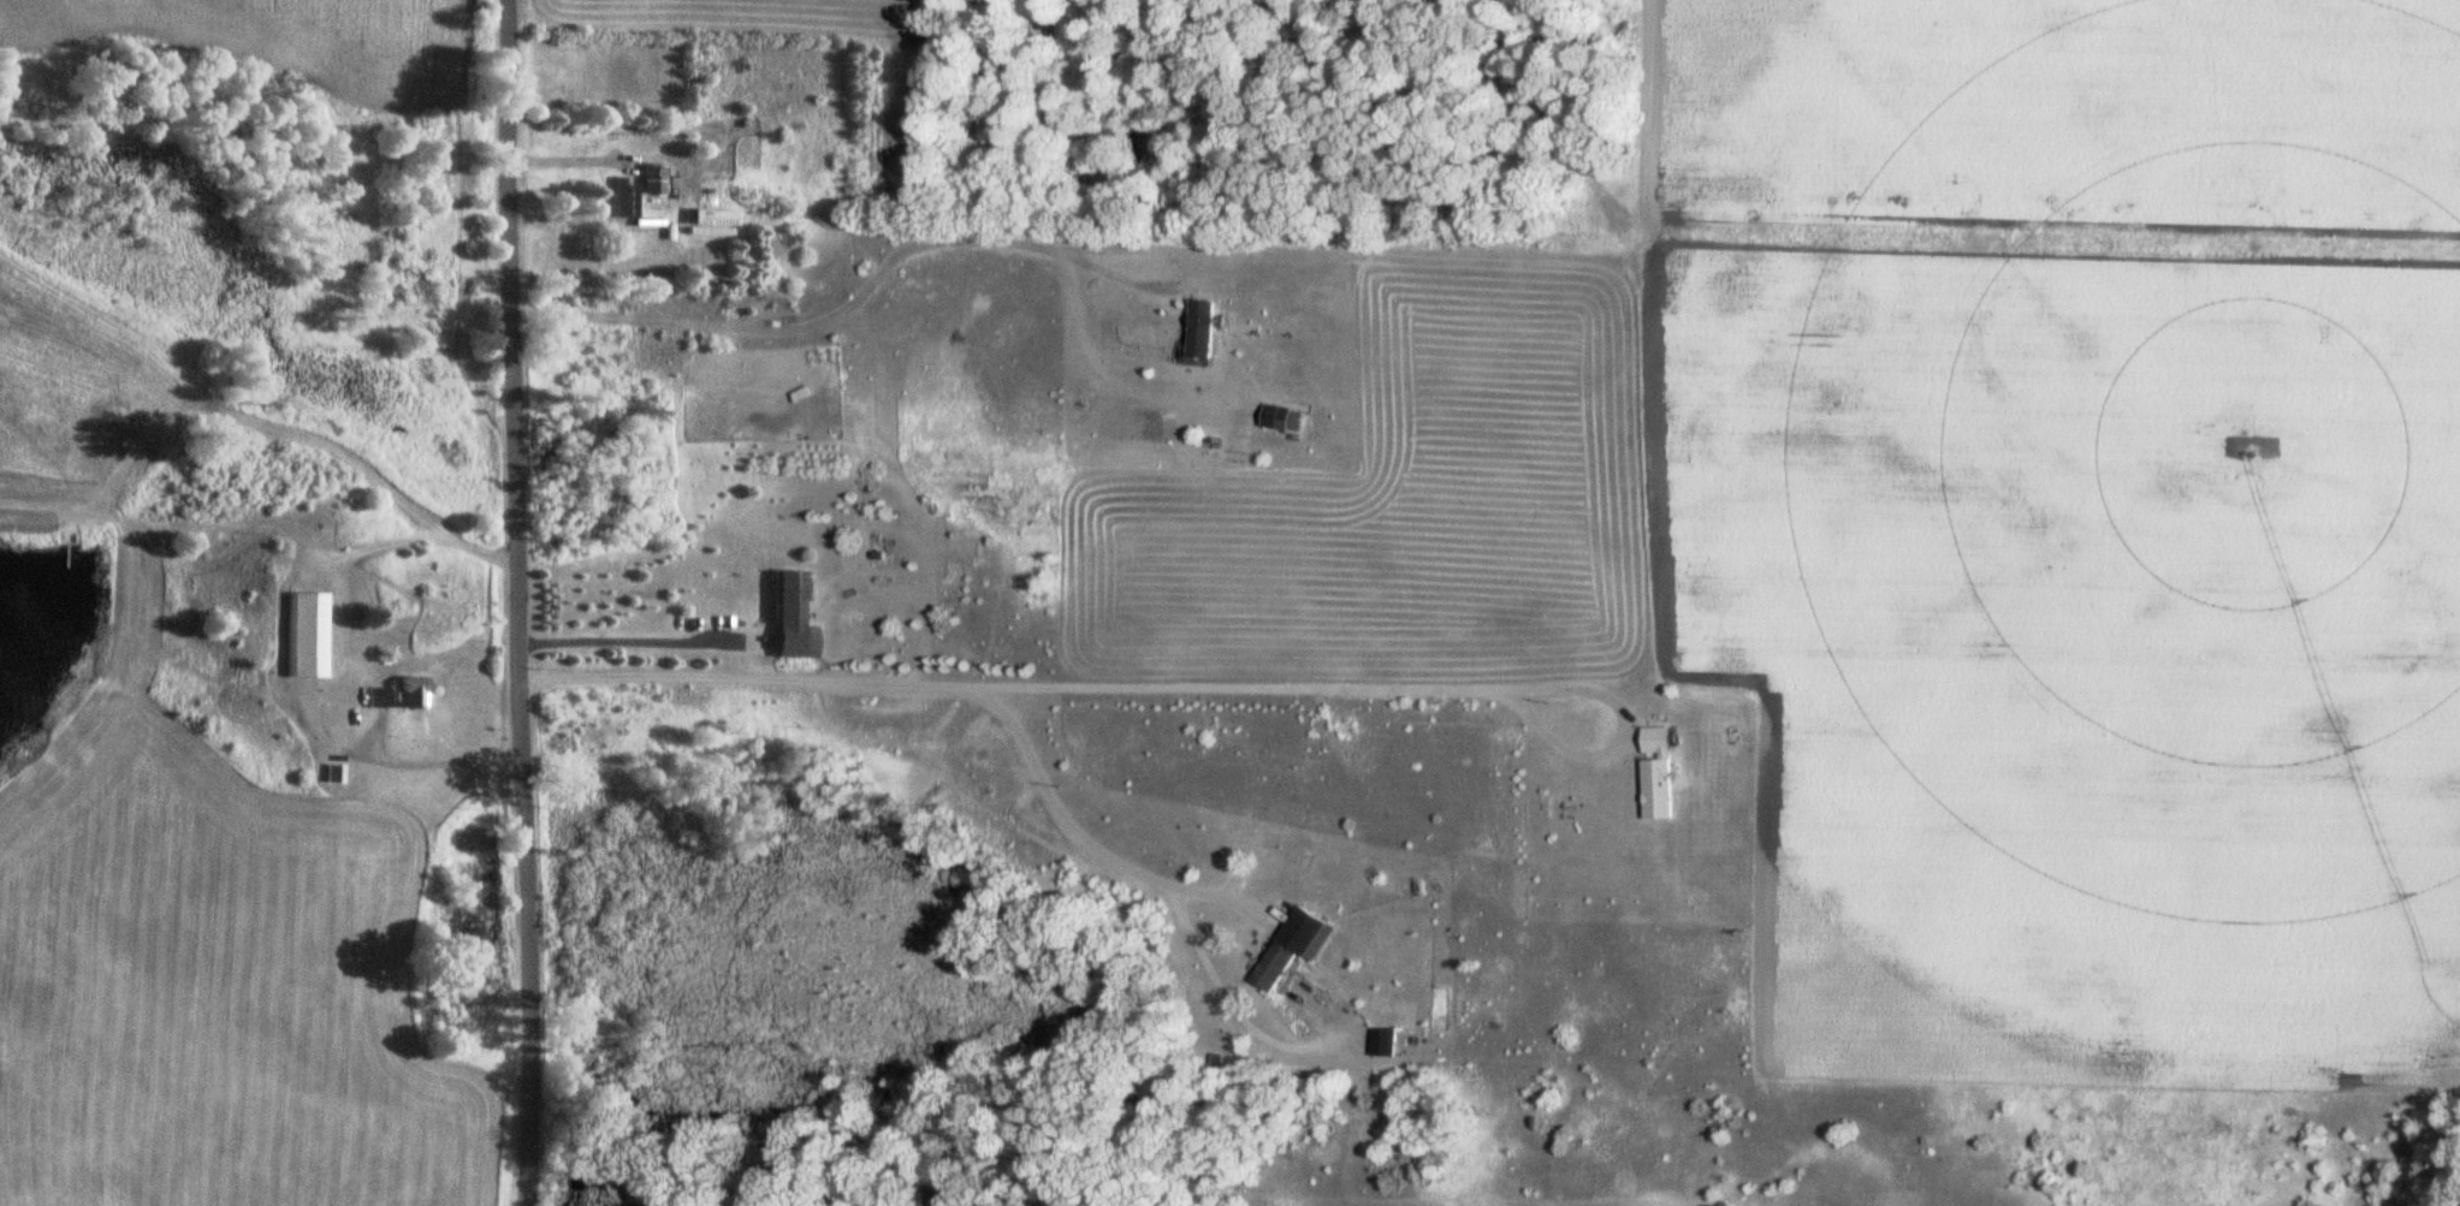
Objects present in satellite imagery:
building: (657, 180)
building: (628, 200)
road: (906, 246)
building: (1203, 329)
road: (1105, 379)
building: (1281, 420)
road: (417, 539)
road: (523, 602)
building: (796, 620)
building: (308, 636)
road: (646, 638)
road: (1166, 688)
building: (415, 694)
building: (381, 699)
road: (434, 762)
building: (337, 774)
building: (1656, 774)
road: (1069, 828)
building: (1296, 947)
road: (1219, 987)
building: (1383, 1044)

